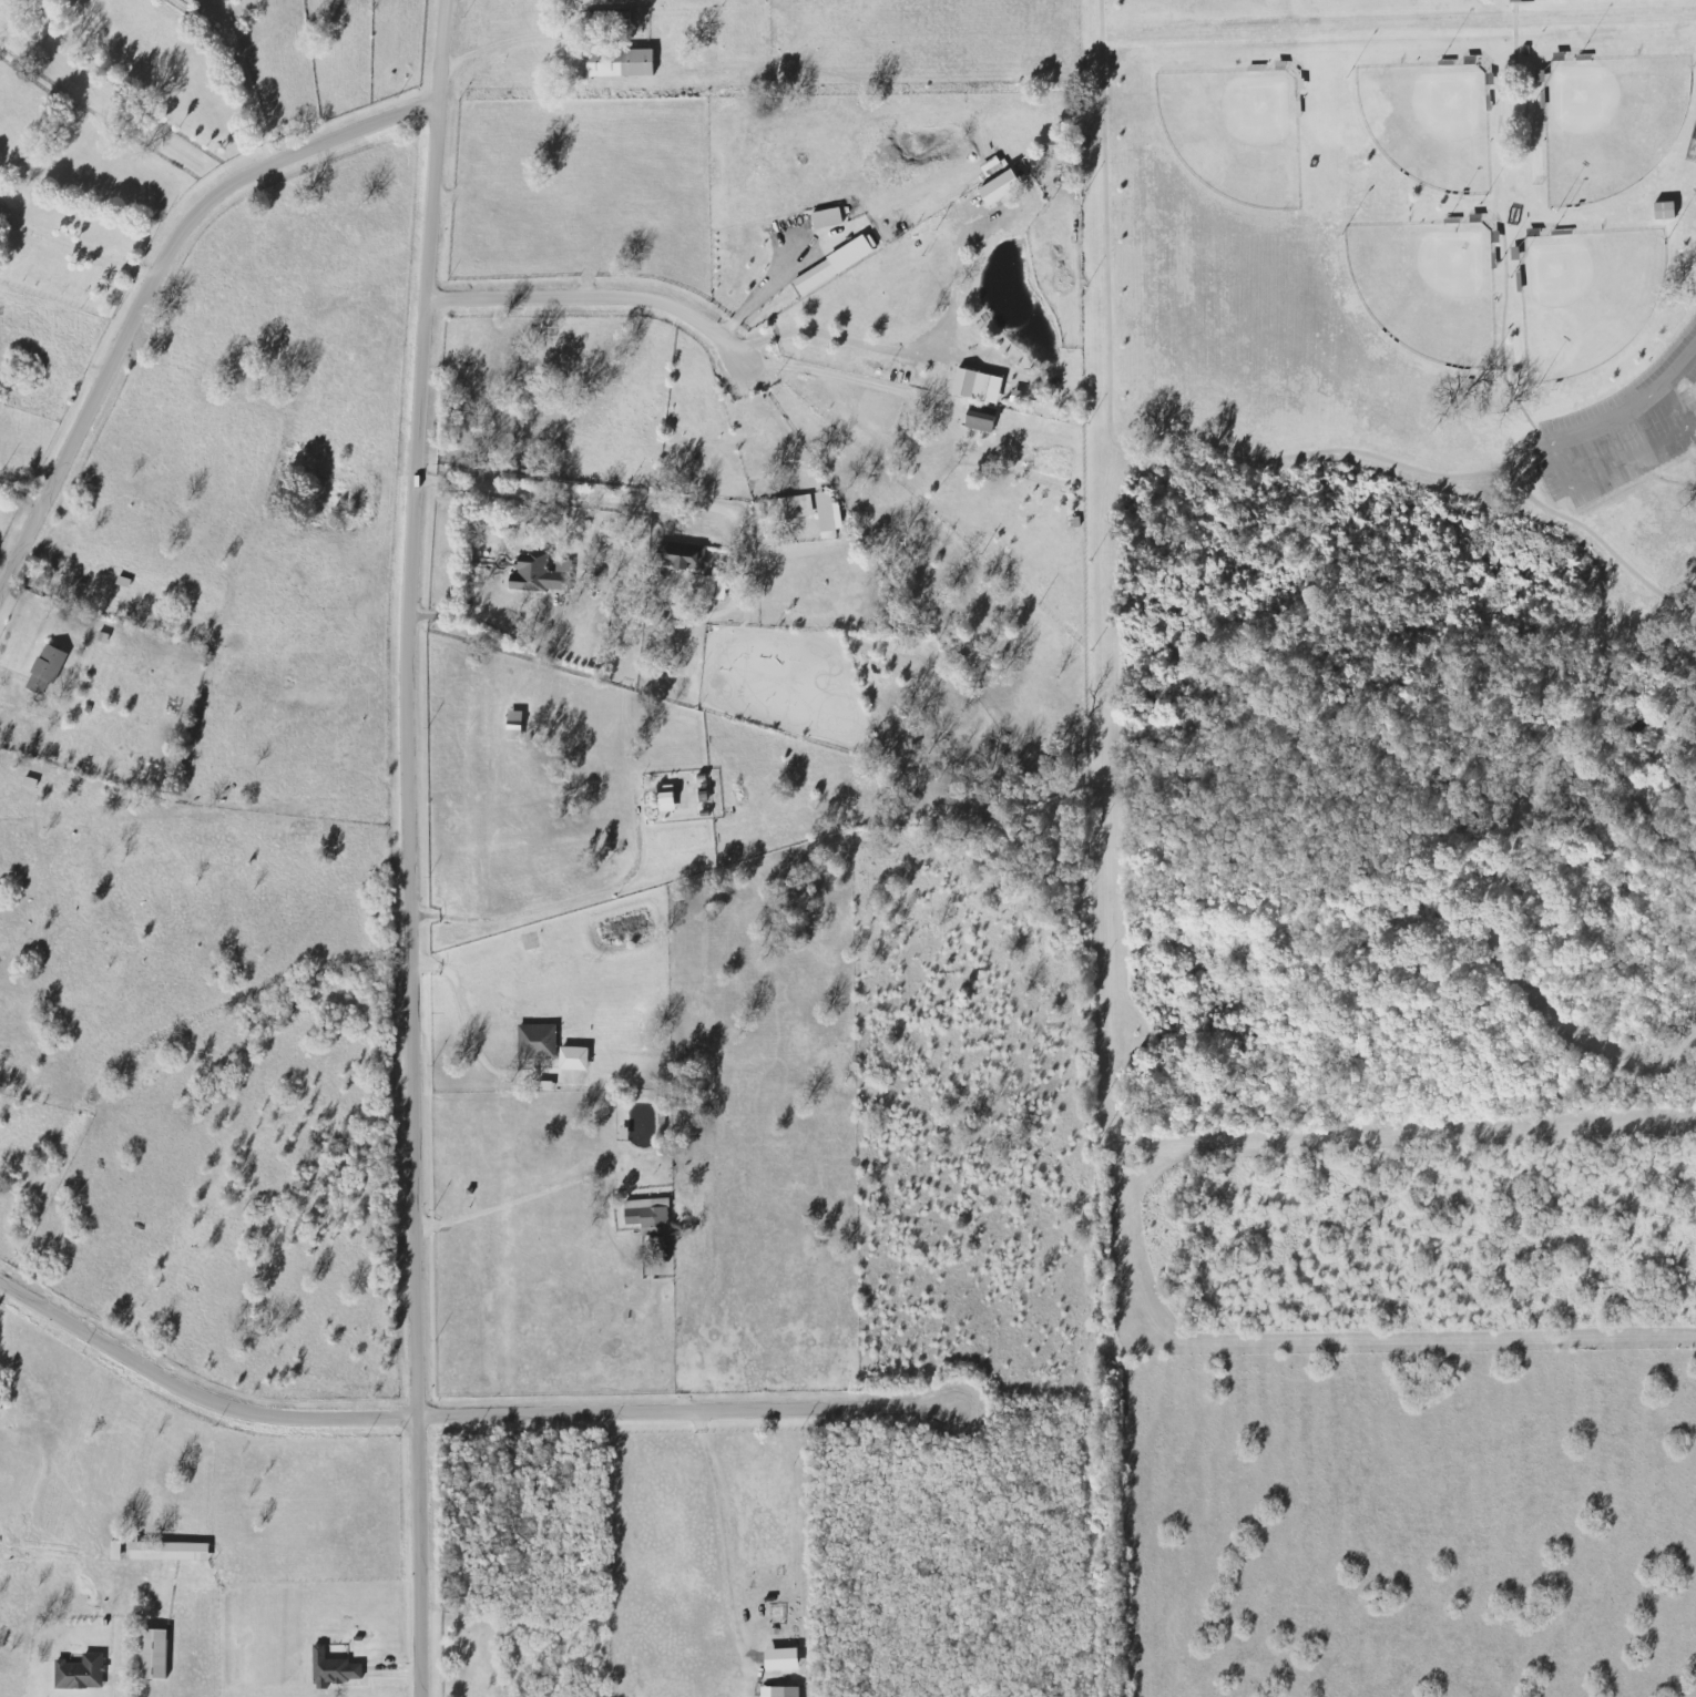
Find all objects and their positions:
building: (1521, 1)
road: (183, 9)
road: (1412, 28)
road: (511, 48)
building: (620, 62)
road: (1535, 83)
road: (242, 85)
road: (1492, 86)
road: (1525, 102)
road: (1499, 112)
park: (1428, 123)
park: (1608, 124)
building: (1000, 188)
building: (1664, 211)
road: (1684, 211)
road: (73, 247)
building: (832, 266)
road: (154, 278)
park: (1427, 288)
road: (605, 295)
park: (1585, 297)
road: (836, 336)
road: (1679, 369)
building: (977, 386)
building: (981, 419)
road: (1205, 446)
road: (1574, 484)
road: (24, 489)
road: (667, 504)
building: (790, 509)
building: (828, 515)
building: (682, 558)
building: (541, 574)
road: (483, 625)
building: (47, 668)
building: (666, 800)
road: (411, 847)
road: (562, 903)
road: (469, 1033)
building: (548, 1047)
road: (498, 1204)
building: (646, 1213)
road: (470, 1414)
road: (723, 1527)
building: (115, 1551)
building: (170, 1552)
building: (153, 1655)
building: (780, 1659)
building: (333, 1669)
building: (80, 1674)
building: (779, 1693)

